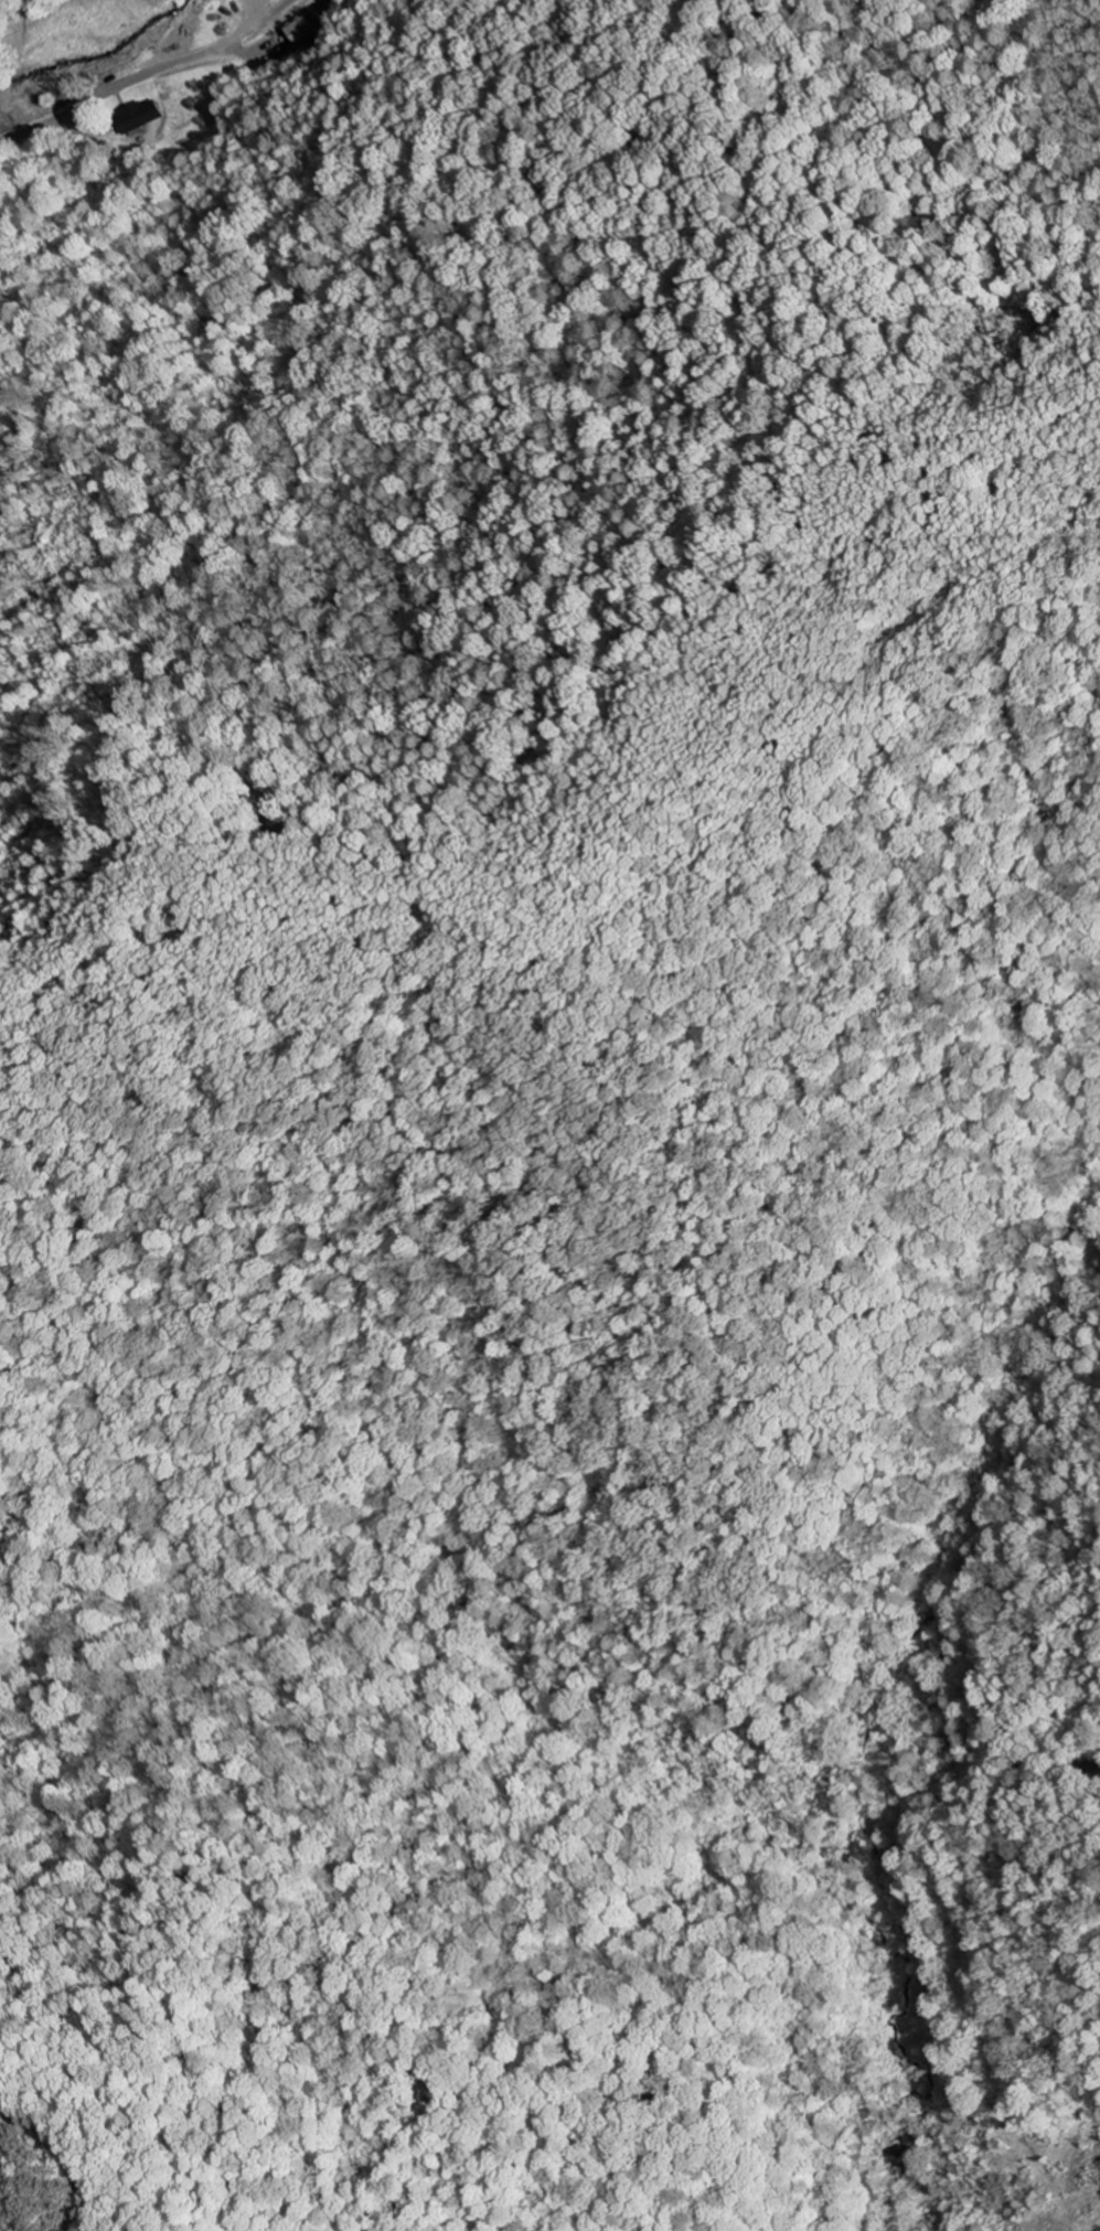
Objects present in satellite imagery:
building: (297, 30)
road: (143, 73)
building: (138, 117)

